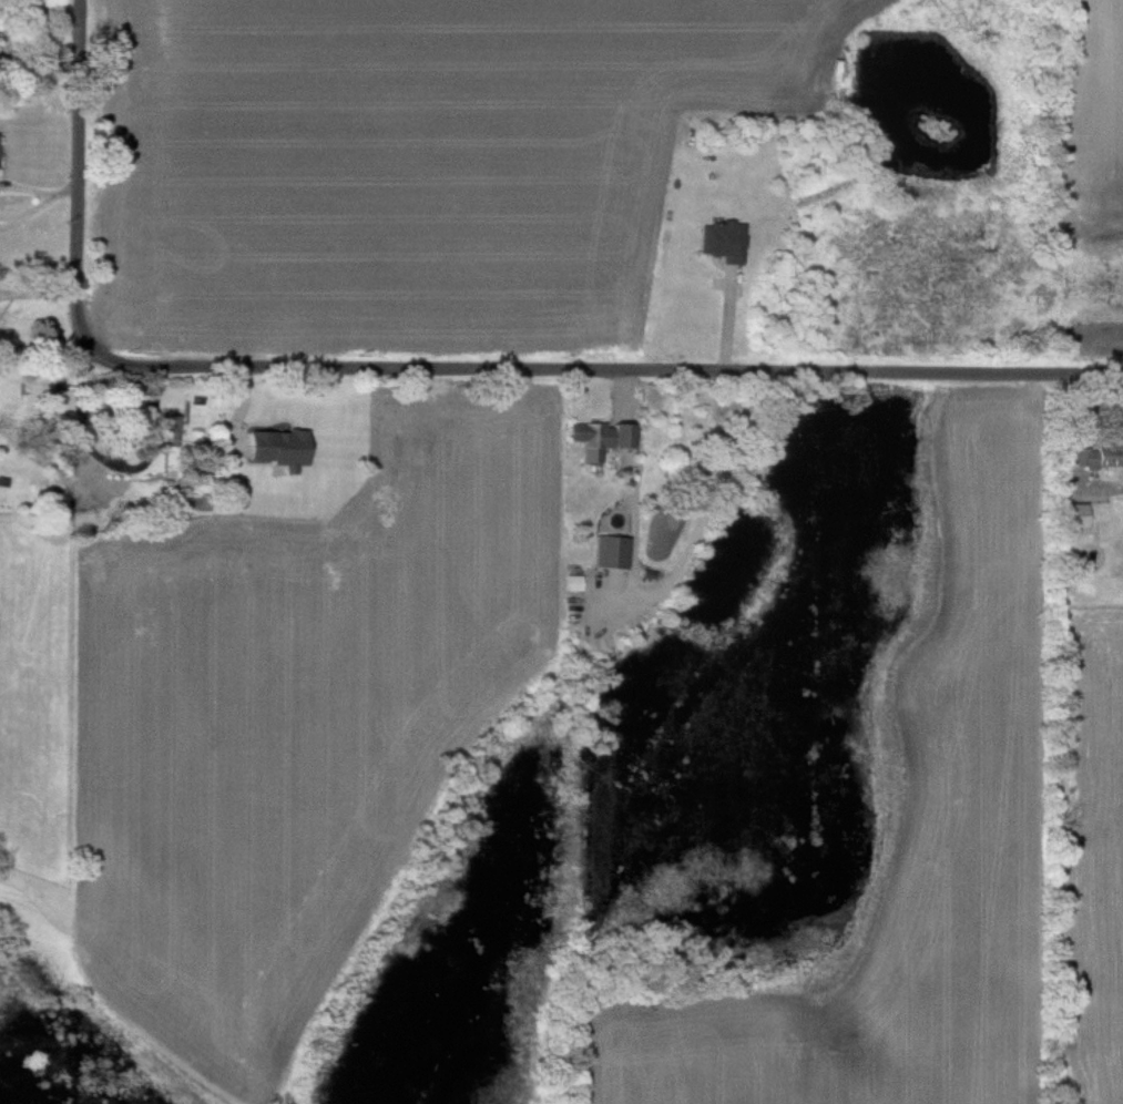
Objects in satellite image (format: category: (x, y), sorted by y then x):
road: (79, 174)
building: (714, 181)
building: (721, 241)
road: (603, 370)
building: (63, 401)
building: (120, 422)
building: (167, 428)
building: (598, 438)
building: (62, 442)
building: (277, 448)
building: (1094, 456)
building: (94, 490)
building: (1073, 514)
building: (610, 552)
building: (573, 582)

